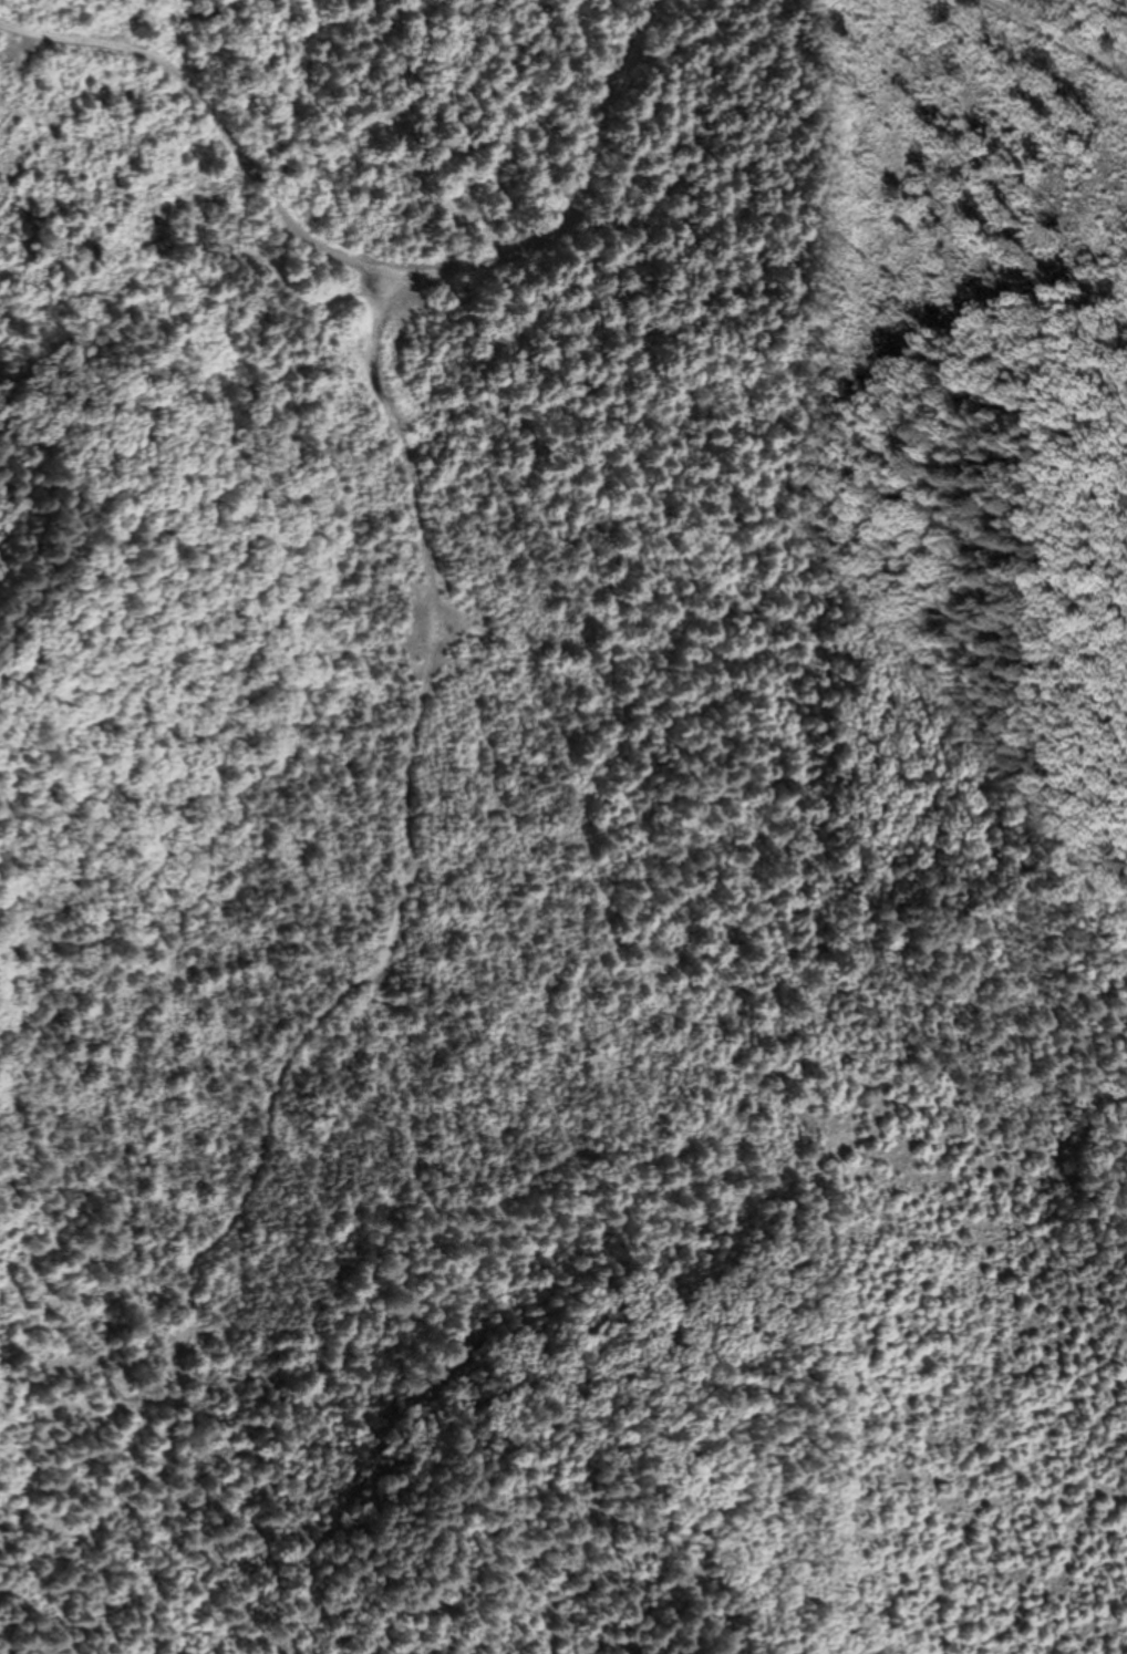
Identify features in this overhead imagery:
road: (549, 188)

